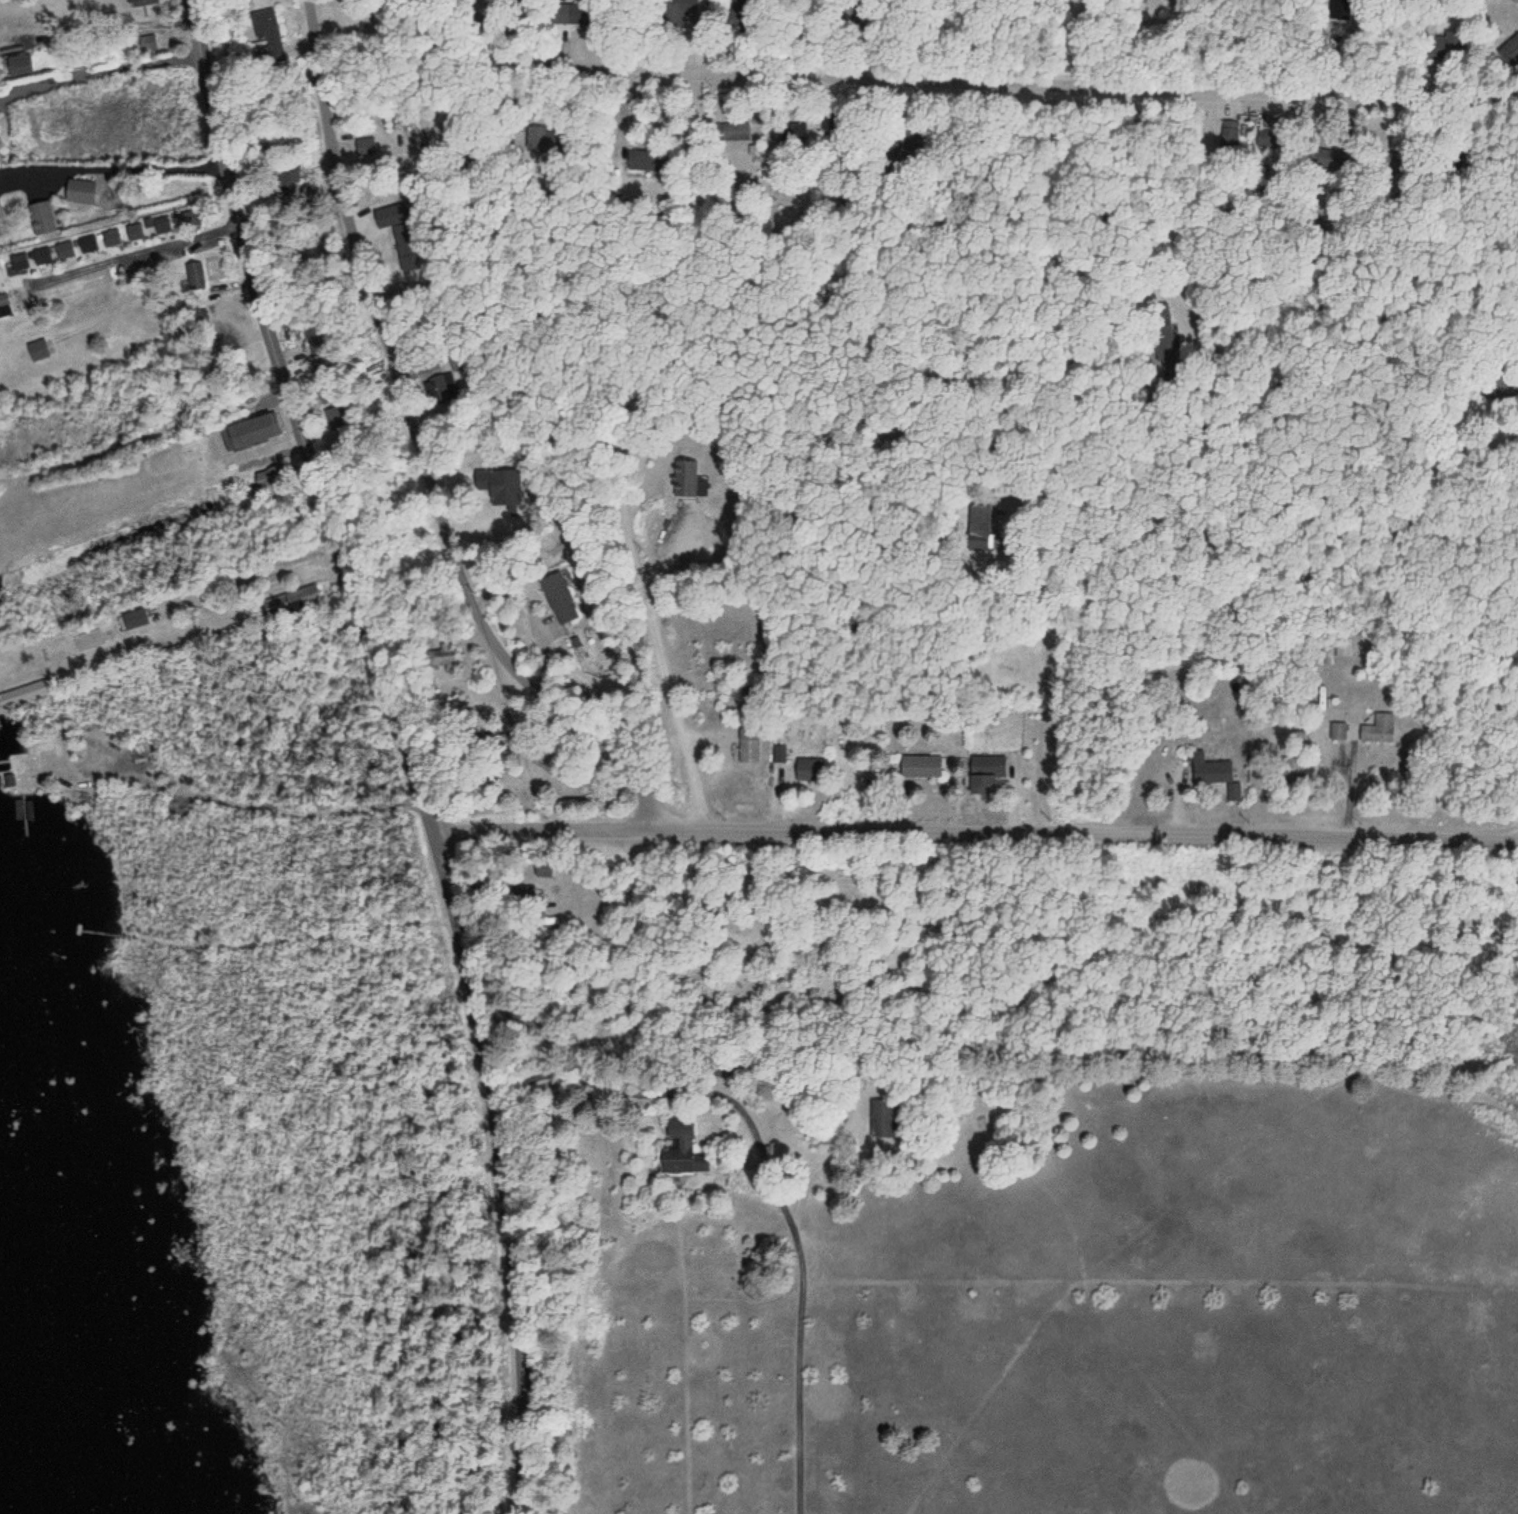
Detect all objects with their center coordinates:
building: (1513, 1)
building: (142, 2)
building: (679, 13)
building: (572, 14)
road: (21, 17)
road: (505, 34)
building: (268, 37)
building: (148, 44)
building: (1509, 51)
building: (19, 66)
road: (1017, 81)
building: (734, 131)
road: (128, 143)
building: (1329, 158)
building: (81, 192)
building: (41, 217)
building: (162, 225)
building: (136, 232)
building: (51, 252)
road: (158, 257)
road: (223, 273)
building: (196, 275)
road: (1314, 280)
road: (218, 340)
building: (39, 349)
road: (233, 352)
road: (426, 442)
building: (684, 477)
road: (685, 554)
road: (201, 584)
building: (559, 598)
building: (285, 603)
building: (135, 620)
building: (442, 656)
building: (29, 693)
road: (1161, 699)
building: (1376, 727)
building: (1338, 731)
road: (684, 732)
building: (749, 743)
road: (408, 747)
building: (921, 766)
building: (807, 769)
building: (1209, 769)
building: (1291, 769)
building: (988, 772)
road: (982, 832)
building: (882, 1116)
building: (682, 1150)
road: (784, 1175)

